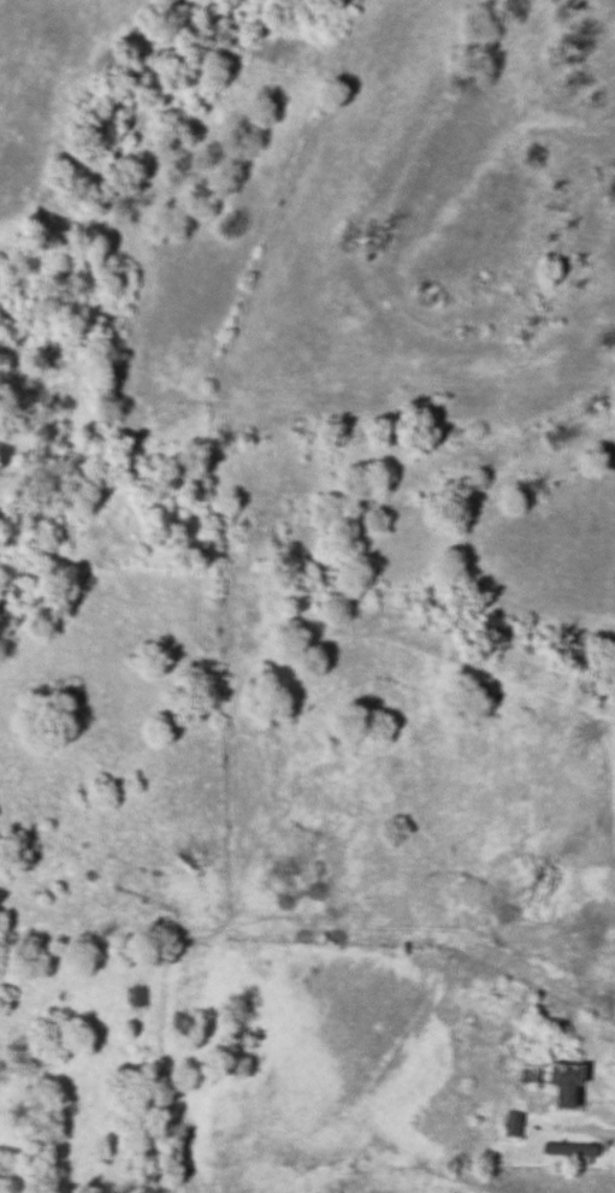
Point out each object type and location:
building: (135, 996)
building: (562, 1085)
building: (510, 1123)
road: (580, 1126)
building: (568, 1150)

